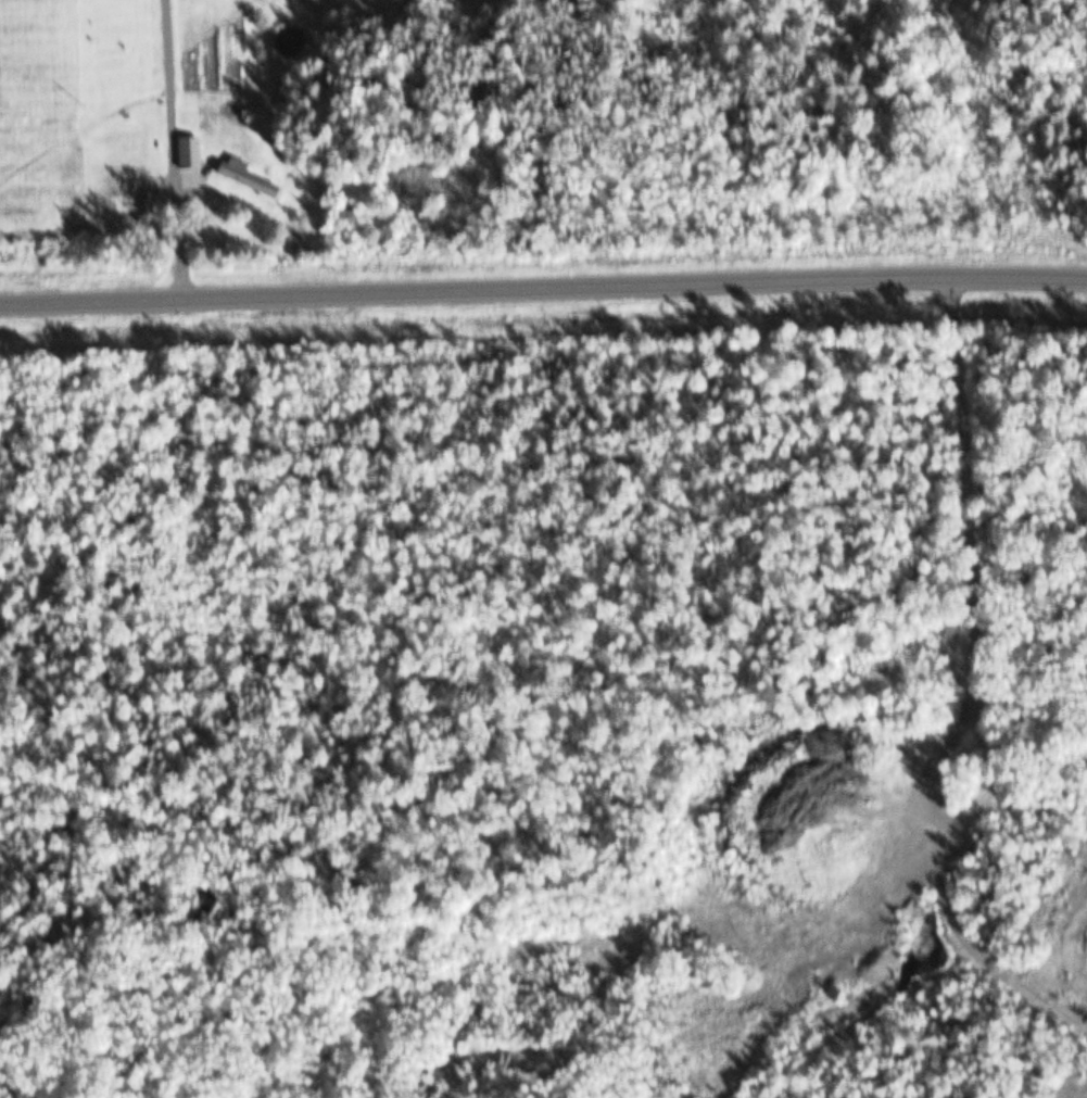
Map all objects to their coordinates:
road: (174, 147)
building: (188, 155)
building: (244, 179)
road: (543, 285)

